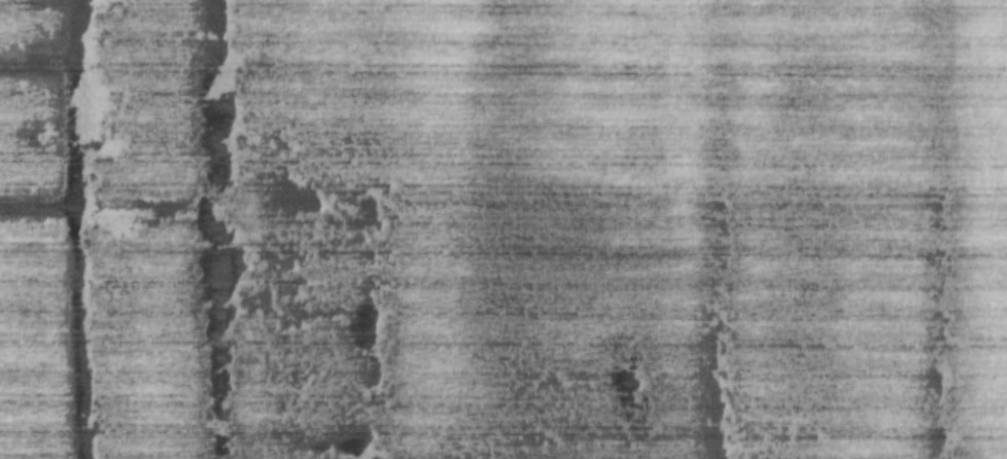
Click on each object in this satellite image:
crop: (503, 229)

